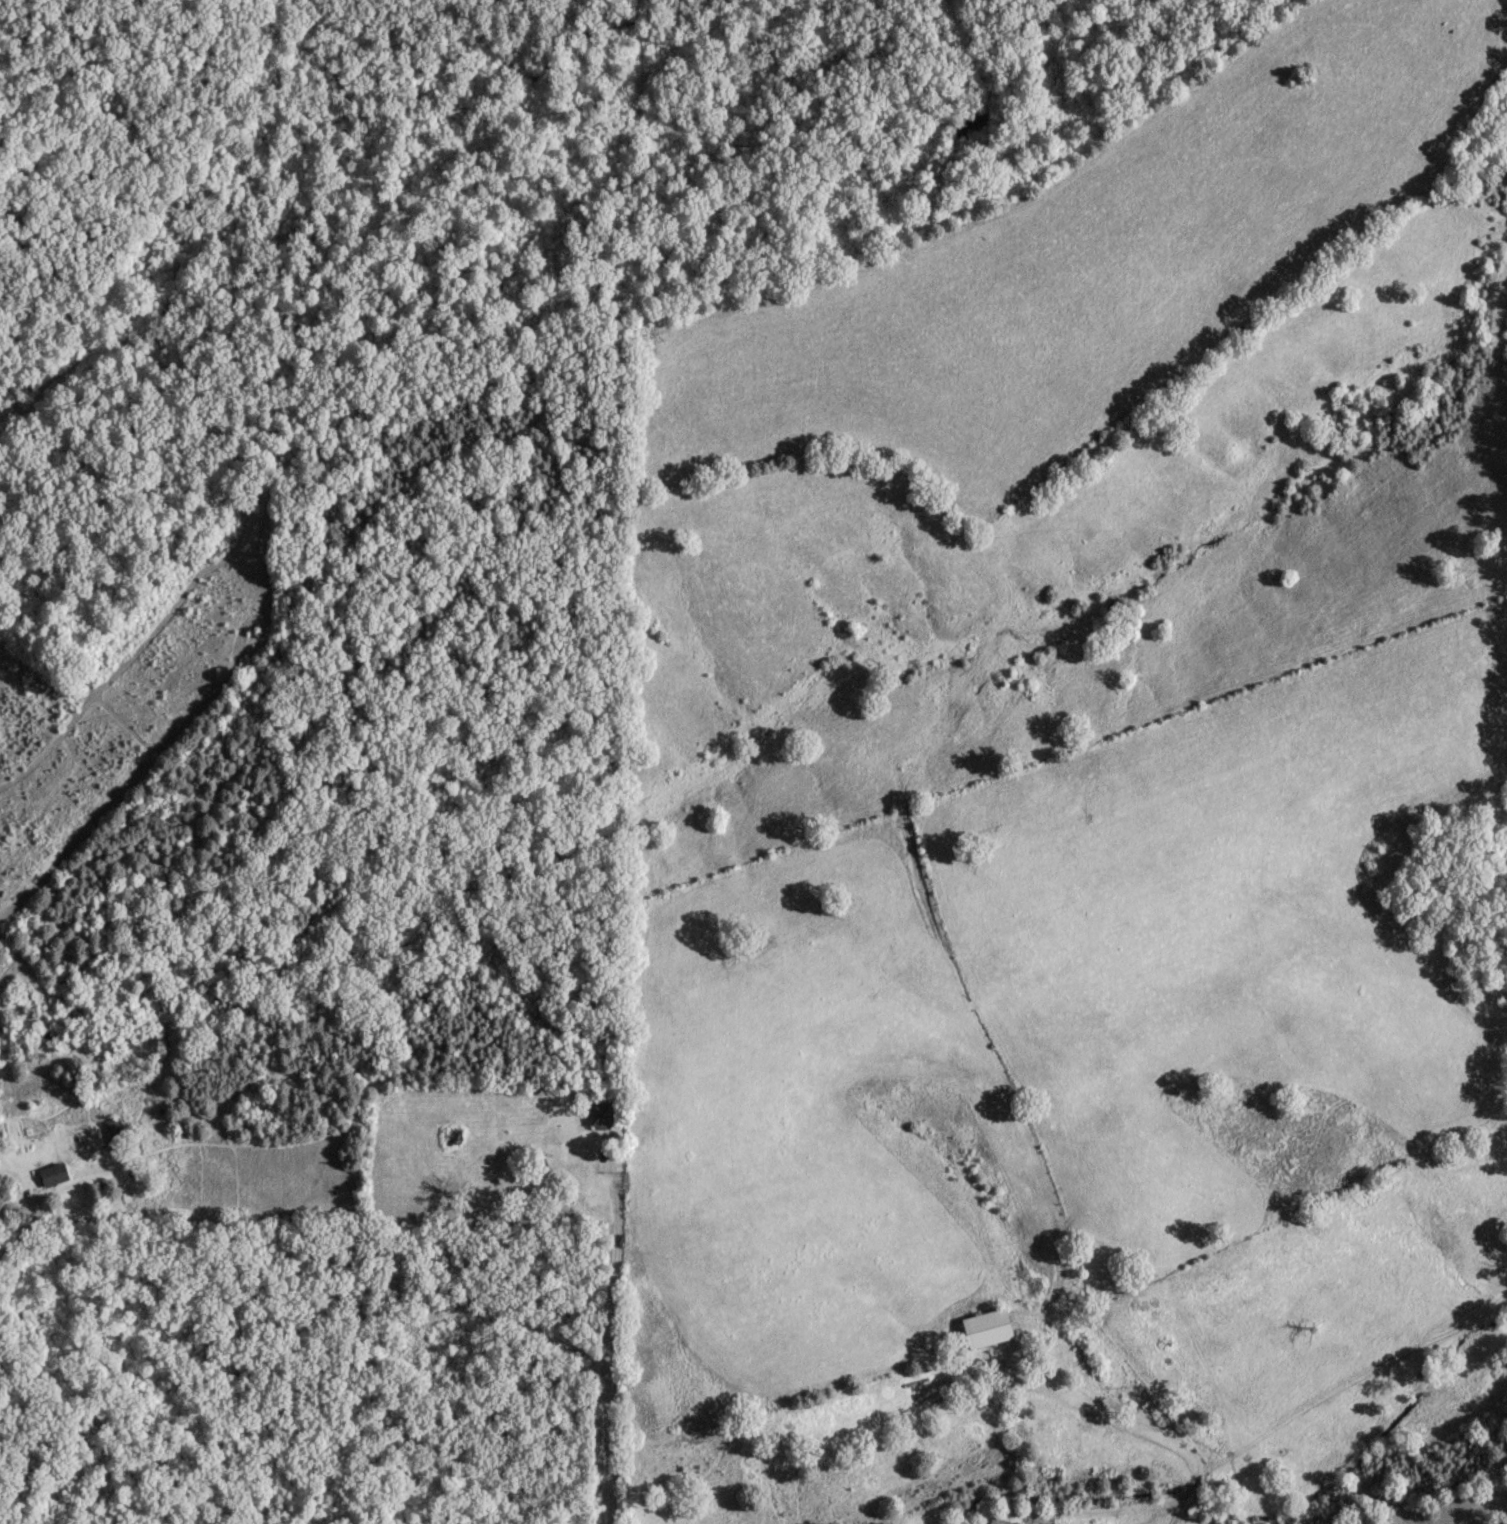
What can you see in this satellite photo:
building: (600, 1113)
building: (52, 1172)
road: (39, 1219)
building: (986, 1325)
road: (608, 1342)
building: (448, 1360)
building: (997, 1520)
building: (1059, 1522)

